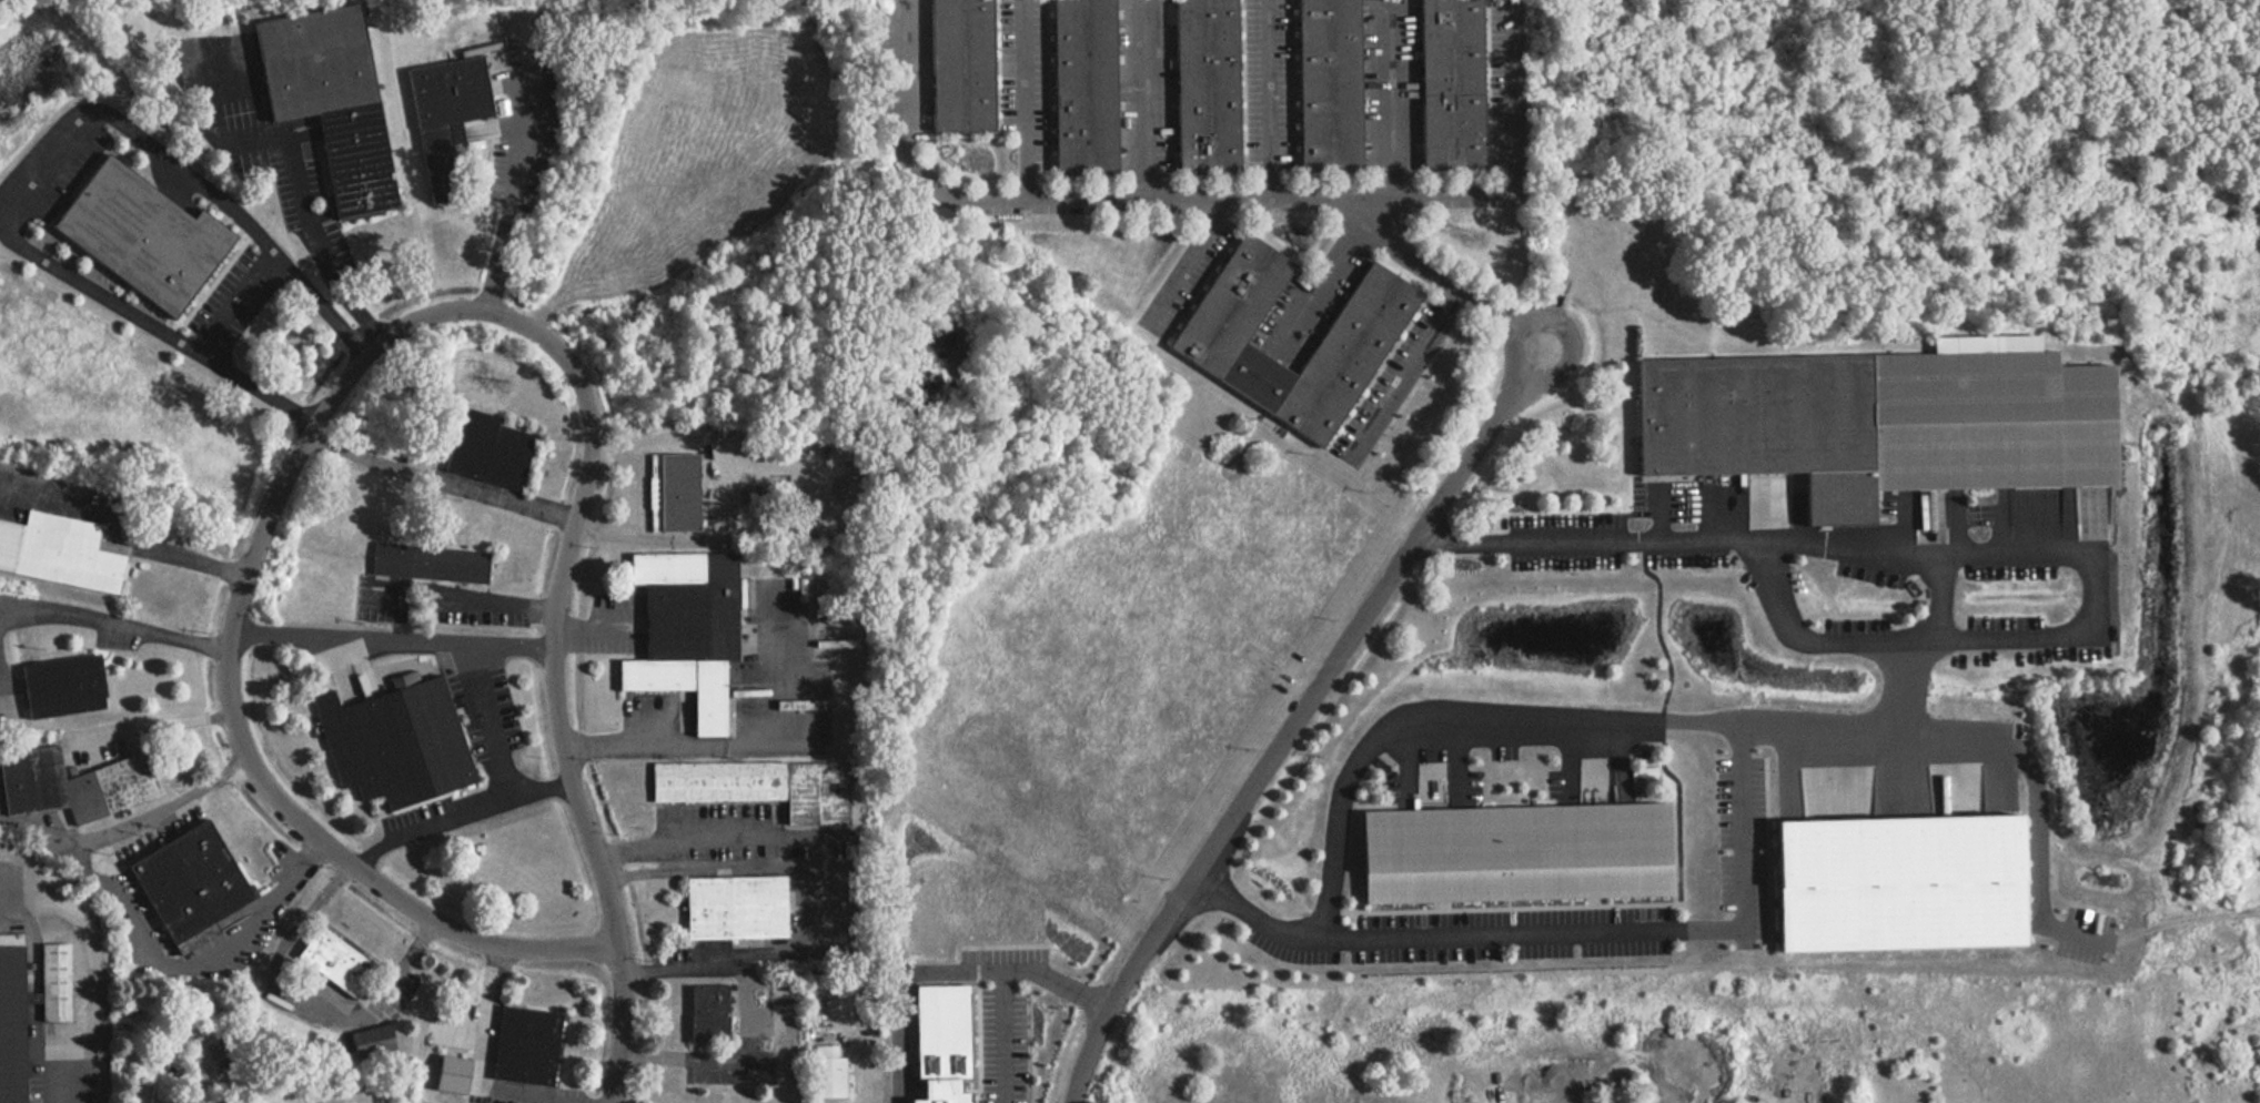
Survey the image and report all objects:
building: (958, 64)
parking lot: (902, 65)
road: (898, 68)
parking lot: (1020, 79)
parking lot: (1500, 82)
building: (1450, 83)
building: (1325, 84)
parking lot: (1386, 84)
road: (1511, 84)
building: (1203, 85)
parking lot: (1264, 85)
parking lot: (1142, 87)
building: (1081, 88)
building: (331, 98)
road: (1390, 99)
road: (1147, 100)
road: (1265, 100)
road: (1025, 101)
building: (447, 115)
parking lot: (519, 136)
road: (51, 164)
road: (297, 184)
road: (512, 194)
road: (1195, 200)
building: (139, 235)
road: (1191, 266)
parking lot: (1186, 277)
road: (1442, 277)
parking lot: (235, 302)
road: (320, 305)
building: (1227, 305)
road: (1305, 311)
parking lot: (1289, 327)
road: (380, 330)
building: (1342, 355)
road: (1400, 372)
parking lot: (1388, 383)
road: (304, 424)
building: (1878, 425)
building: (490, 448)
road: (589, 466)
parking lot: (60, 488)
building: (670, 492)
road: (517, 504)
road: (124, 529)
road: (1757, 549)
building: (58, 550)
building: (428, 563)
parking lot: (1853, 580)
road: (1936, 594)
road: (458, 597)
parking lot: (380, 611)
parking lot: (480, 617)
parking lot: (609, 625)
road: (115, 627)
road: (593, 627)
building: (684, 629)
road: (1937, 638)
road: (395, 639)
building: (62, 686)
parking lot: (652, 701)
parking lot: (485, 711)
road: (0, 712)
road: (1300, 719)
road: (1823, 725)
road: (151, 729)
building: (393, 740)
road: (677, 746)
road: (1352, 769)
building: (77, 781)
parking lot: (1435, 782)
road: (2031, 783)
parking lot: (1597, 785)
building: (760, 786)
road: (541, 790)
road: (502, 799)
parking lot: (448, 811)
parking lot: (713, 811)
parking lot: (413, 814)
parking lot: (159, 832)
road: (719, 836)
parking lot: (1742, 839)
parking lot: (724, 852)
building: (1511, 852)
road: (1739, 860)
road: (357, 868)
road: (781, 868)
building: (191, 879)
building: (734, 905)
parking lot: (141, 907)
road: (120, 912)
road: (2080, 932)
road: (1500, 934)
parking lot: (2084, 934)
parking lot: (1467, 935)
parking lot: (251, 948)
building: (333, 961)
road: (1001, 978)
building: (50, 982)
road: (897, 989)
building: (707, 1012)
road: (749, 1016)
road: (296, 1019)
building: (10, 1025)
building: (939, 1040)
building: (371, 1043)
parking lot: (740, 1044)
building: (527, 1045)
road: (482, 1067)
building: (826, 1071)
road: (859, 1074)
building: (451, 1075)
road: (57, 1077)
parking lot: (498, 1099)

